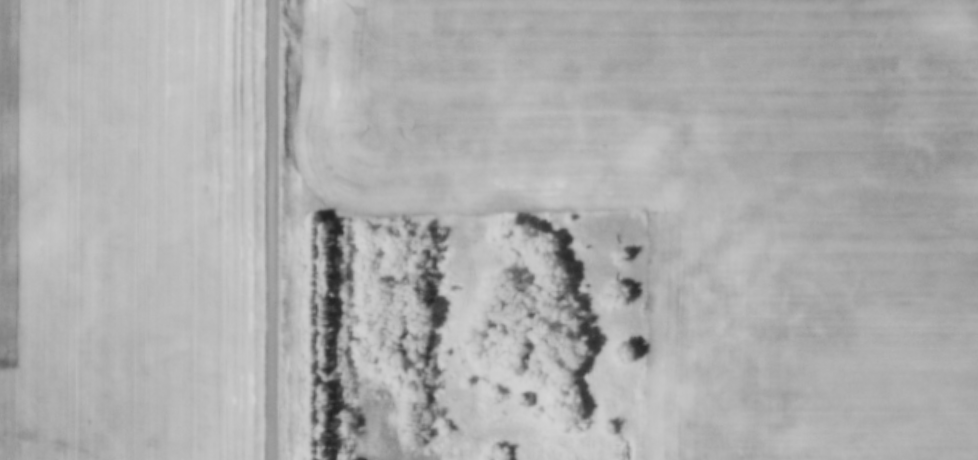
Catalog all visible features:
road: (271, 230)
building: (497, 455)

